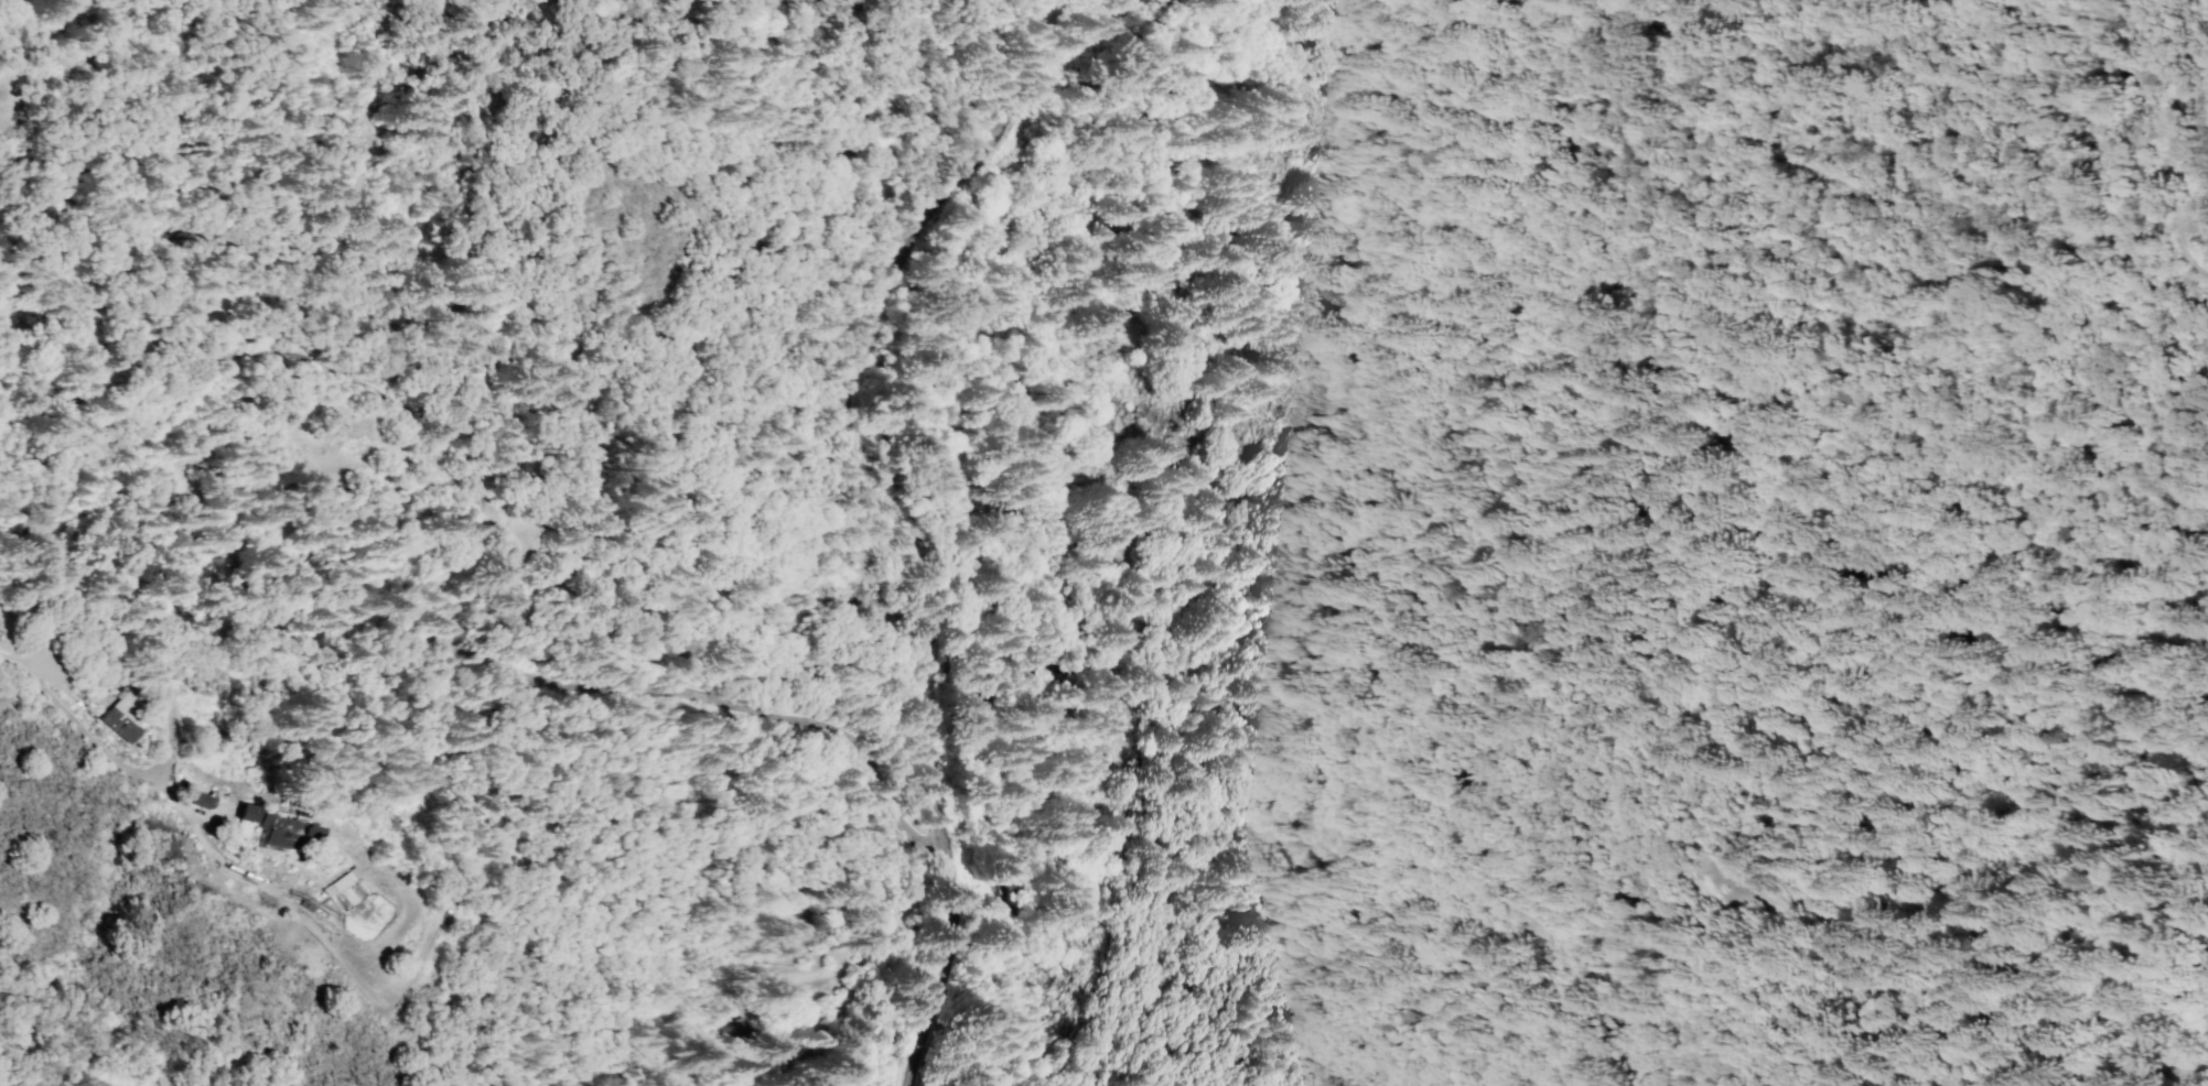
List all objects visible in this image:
crop: (1878, 18)
road: (2191, 39)
road: (2169, 163)
road: (354, 380)
road: (861, 441)
building: (133, 707)
building: (118, 718)
building: (265, 827)
building: (336, 889)
road: (1717, 894)
road: (306, 927)
road: (861, 967)
road: (960, 986)
building: (748, 1010)
building: (756, 1027)
road: (945, 1054)

